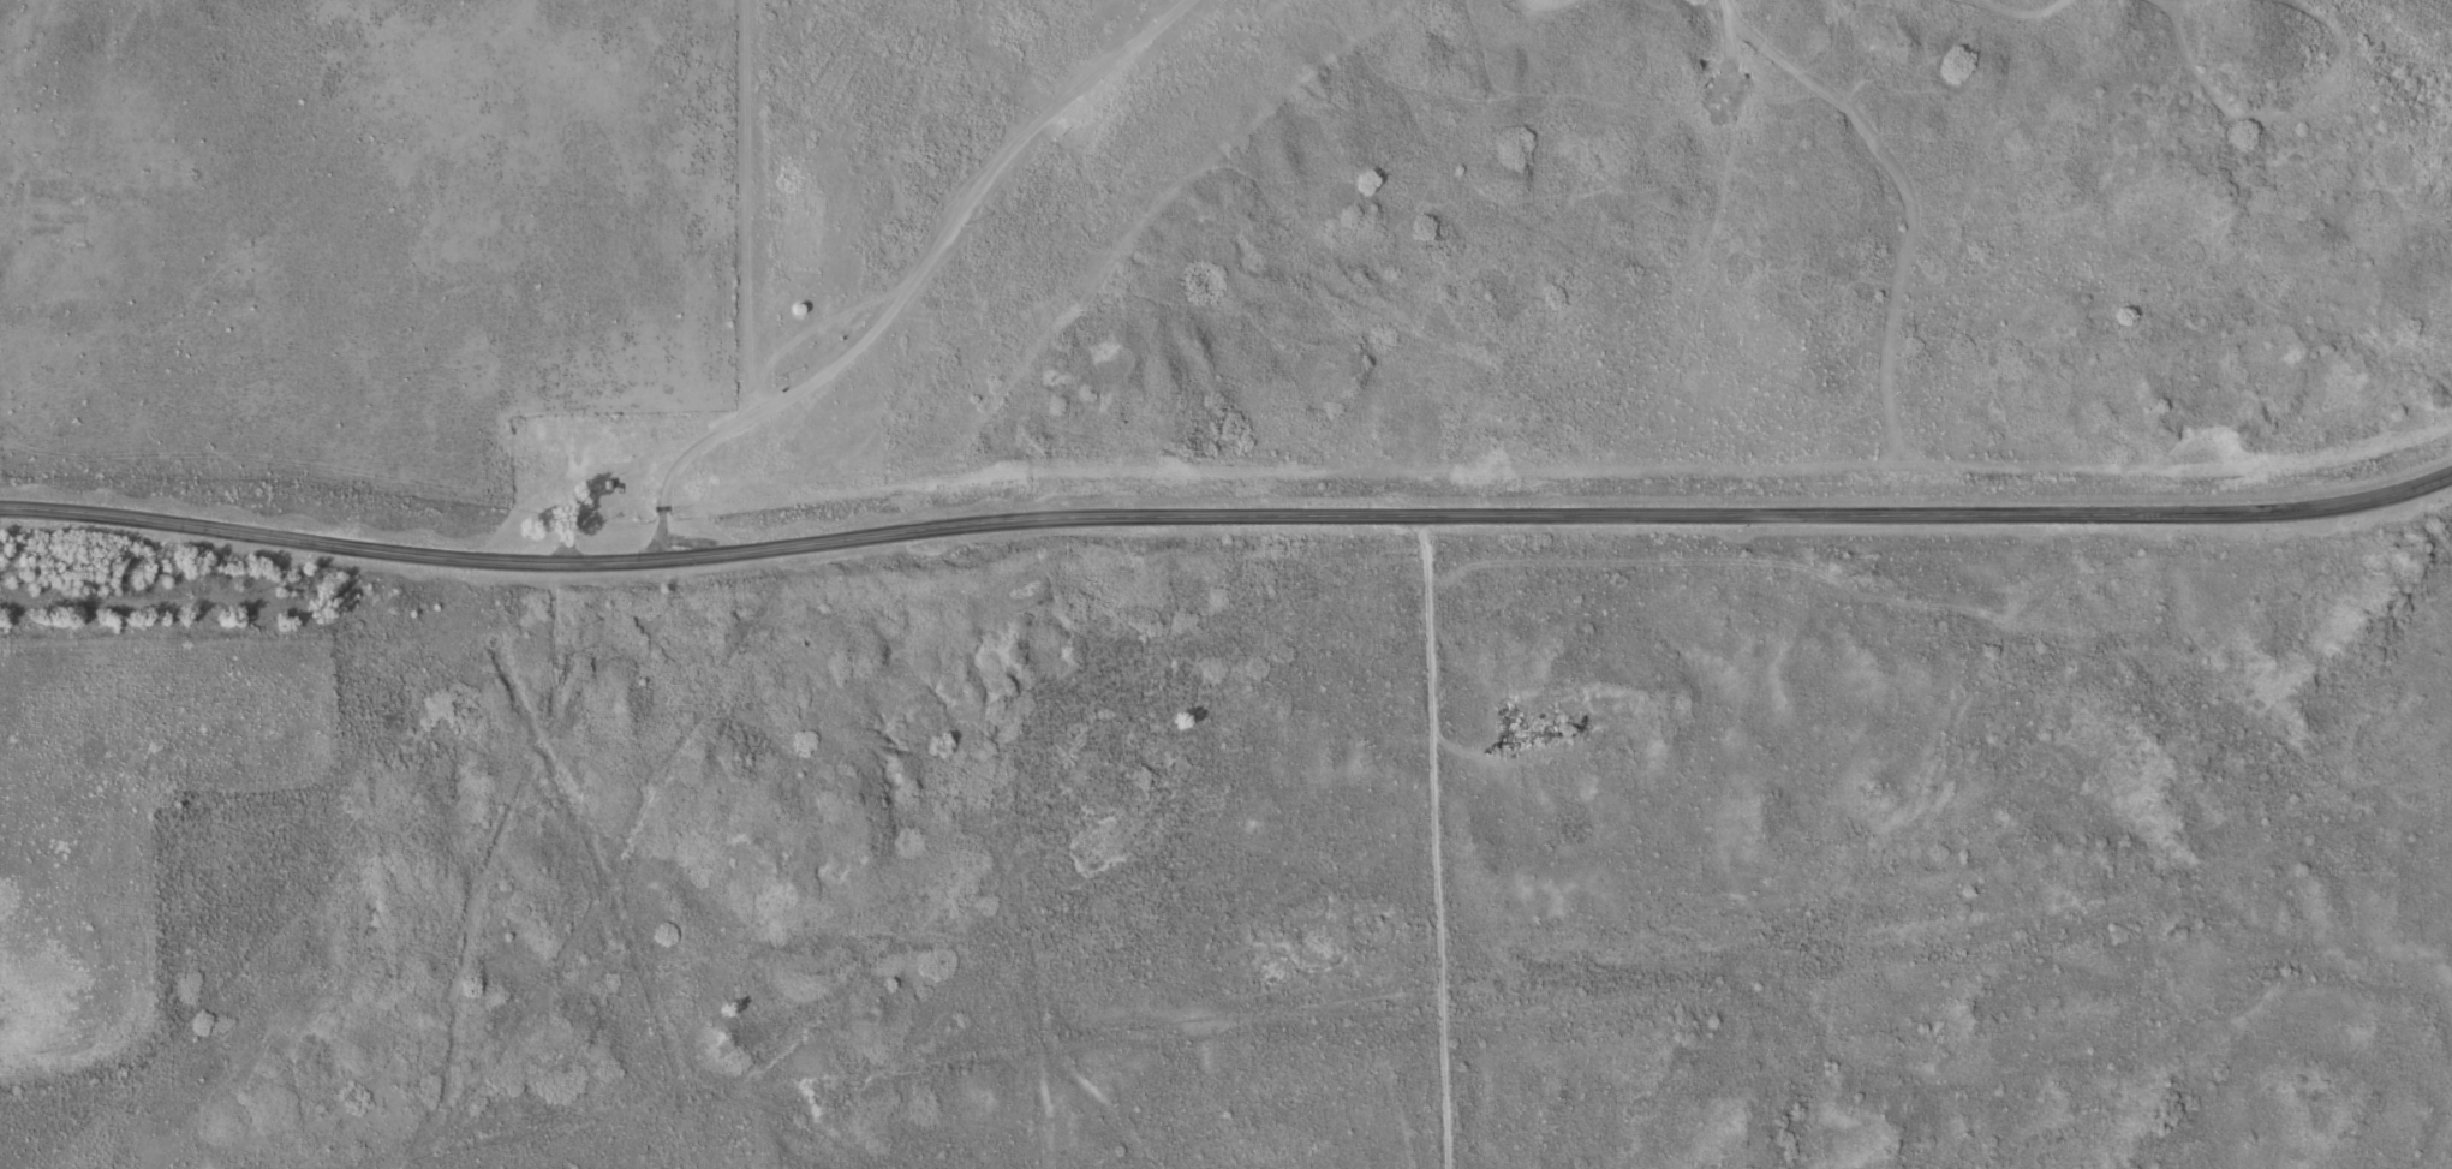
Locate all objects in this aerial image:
road: (1224, 515)

